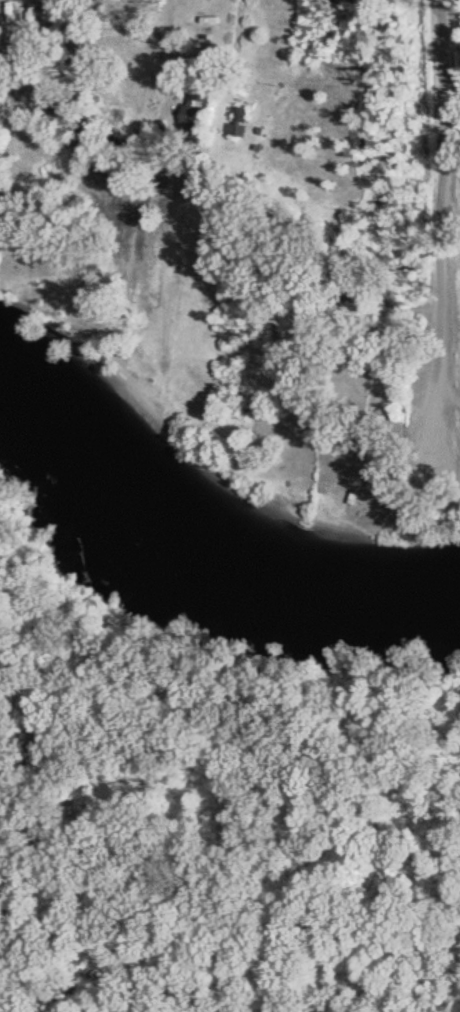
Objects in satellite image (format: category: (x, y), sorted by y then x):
road: (173, 27)
building: (203, 87)
building: (192, 118)
road: (441, 211)
river: (204, 552)

